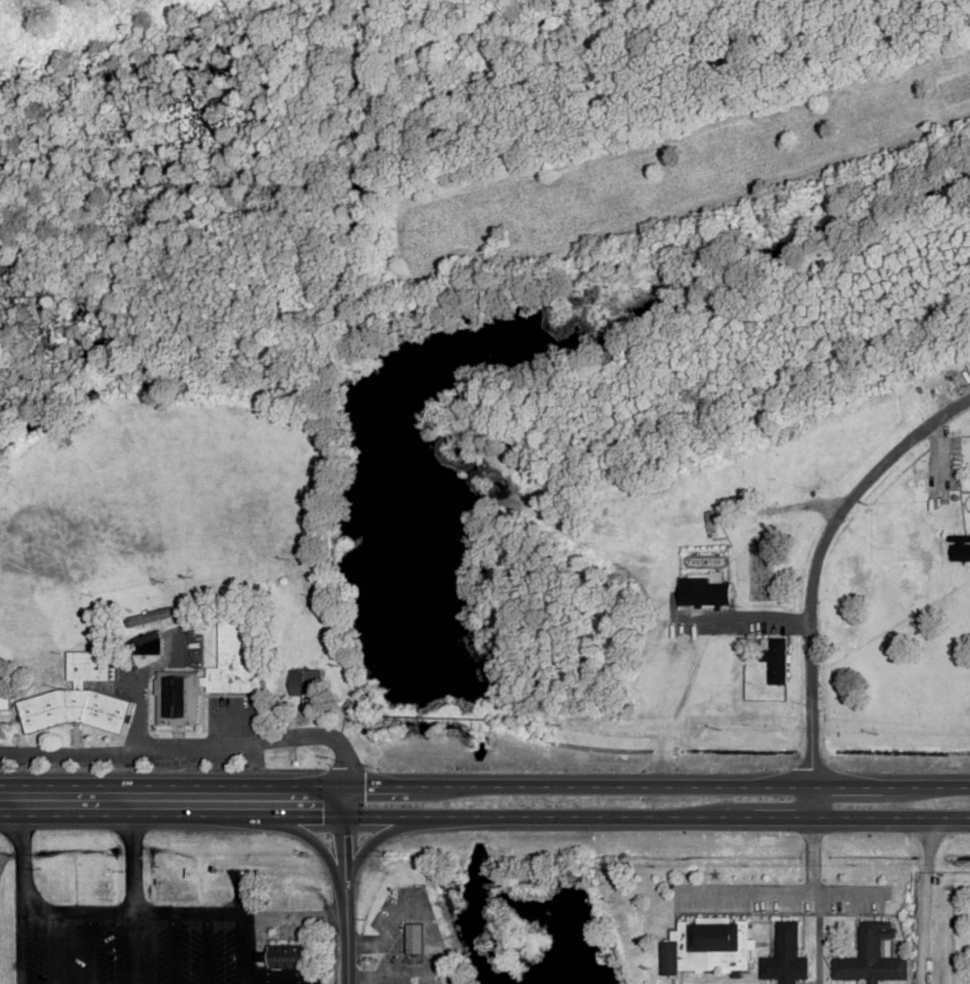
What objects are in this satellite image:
crop: (682, 171)
building: (953, 384)
building: (920, 475)
building: (734, 484)
building: (904, 484)
road: (803, 506)
building: (959, 549)
road: (816, 560)
building: (704, 592)
building: (852, 600)
building: (149, 617)
road: (745, 620)
building: (145, 643)
building: (774, 659)
building: (207, 678)
building: (307, 685)
building: (78, 698)
building: (8, 702)
parking lot: (229, 717)
road: (192, 750)
road: (64, 786)
traffic signals: (348, 786)
road: (548, 787)
traffic signals: (347, 817)
road: (484, 817)
road: (132, 884)
road: (346, 884)
road: (814, 885)
road: (17, 900)
road: (922, 900)
road: (75, 911)
road: (222, 914)
building: (415, 938)
building: (712, 944)
road: (56, 947)
road: (95, 948)
road: (172, 949)
road: (206, 949)
parking lot: (37, 951)
parking lot: (73, 951)
parking lot: (114, 951)
parking lot: (154, 952)
parking lot: (189, 952)
parking lot: (222, 952)
building: (288, 956)
building: (786, 956)
building: (872, 957)
road: (279, 978)
road: (276, 981)

